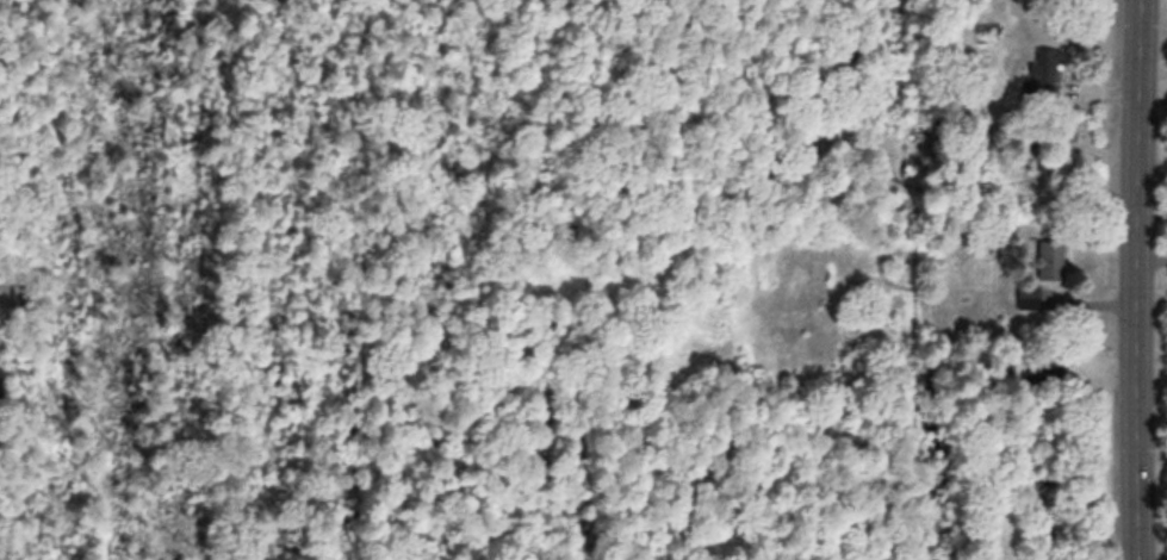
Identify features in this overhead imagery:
building: (1041, 71)
building: (1049, 256)
road: (1132, 279)
building: (1028, 293)
building: (1047, 366)

